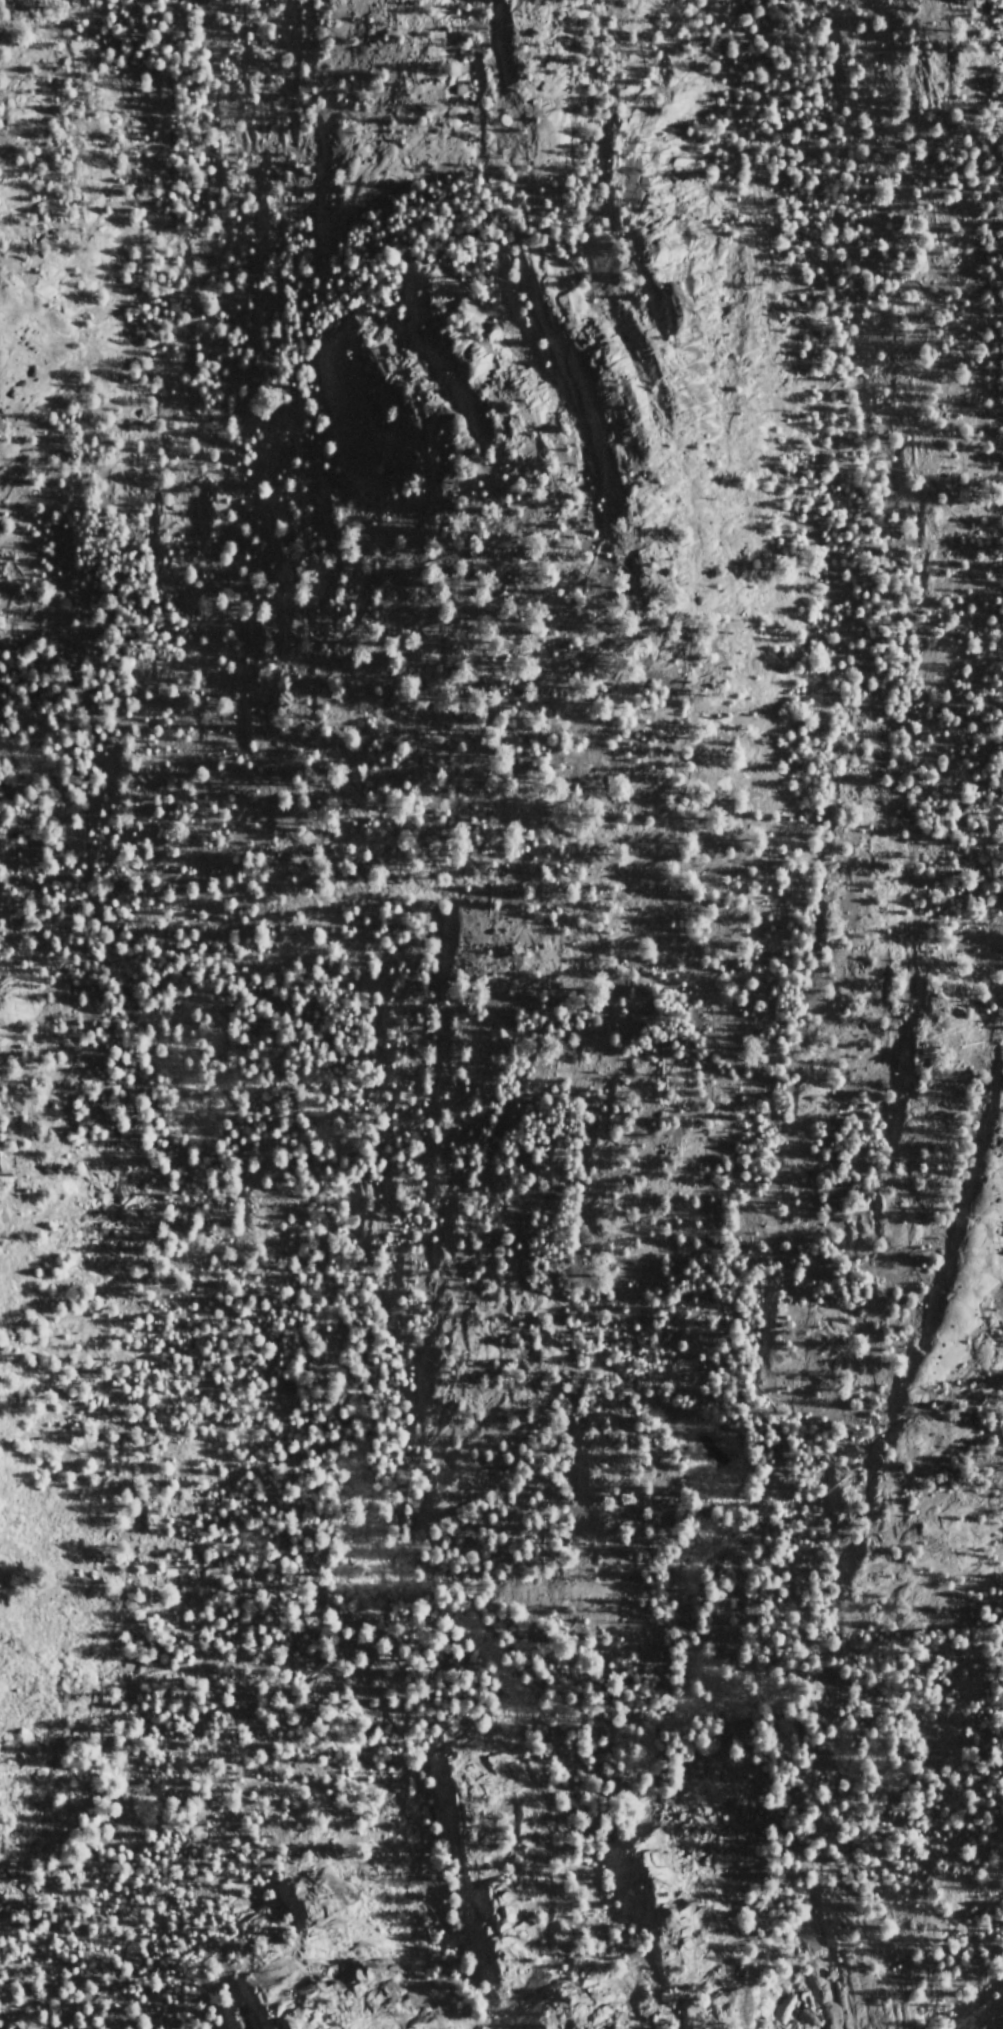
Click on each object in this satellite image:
road: (146, 319)
road: (26, 512)

